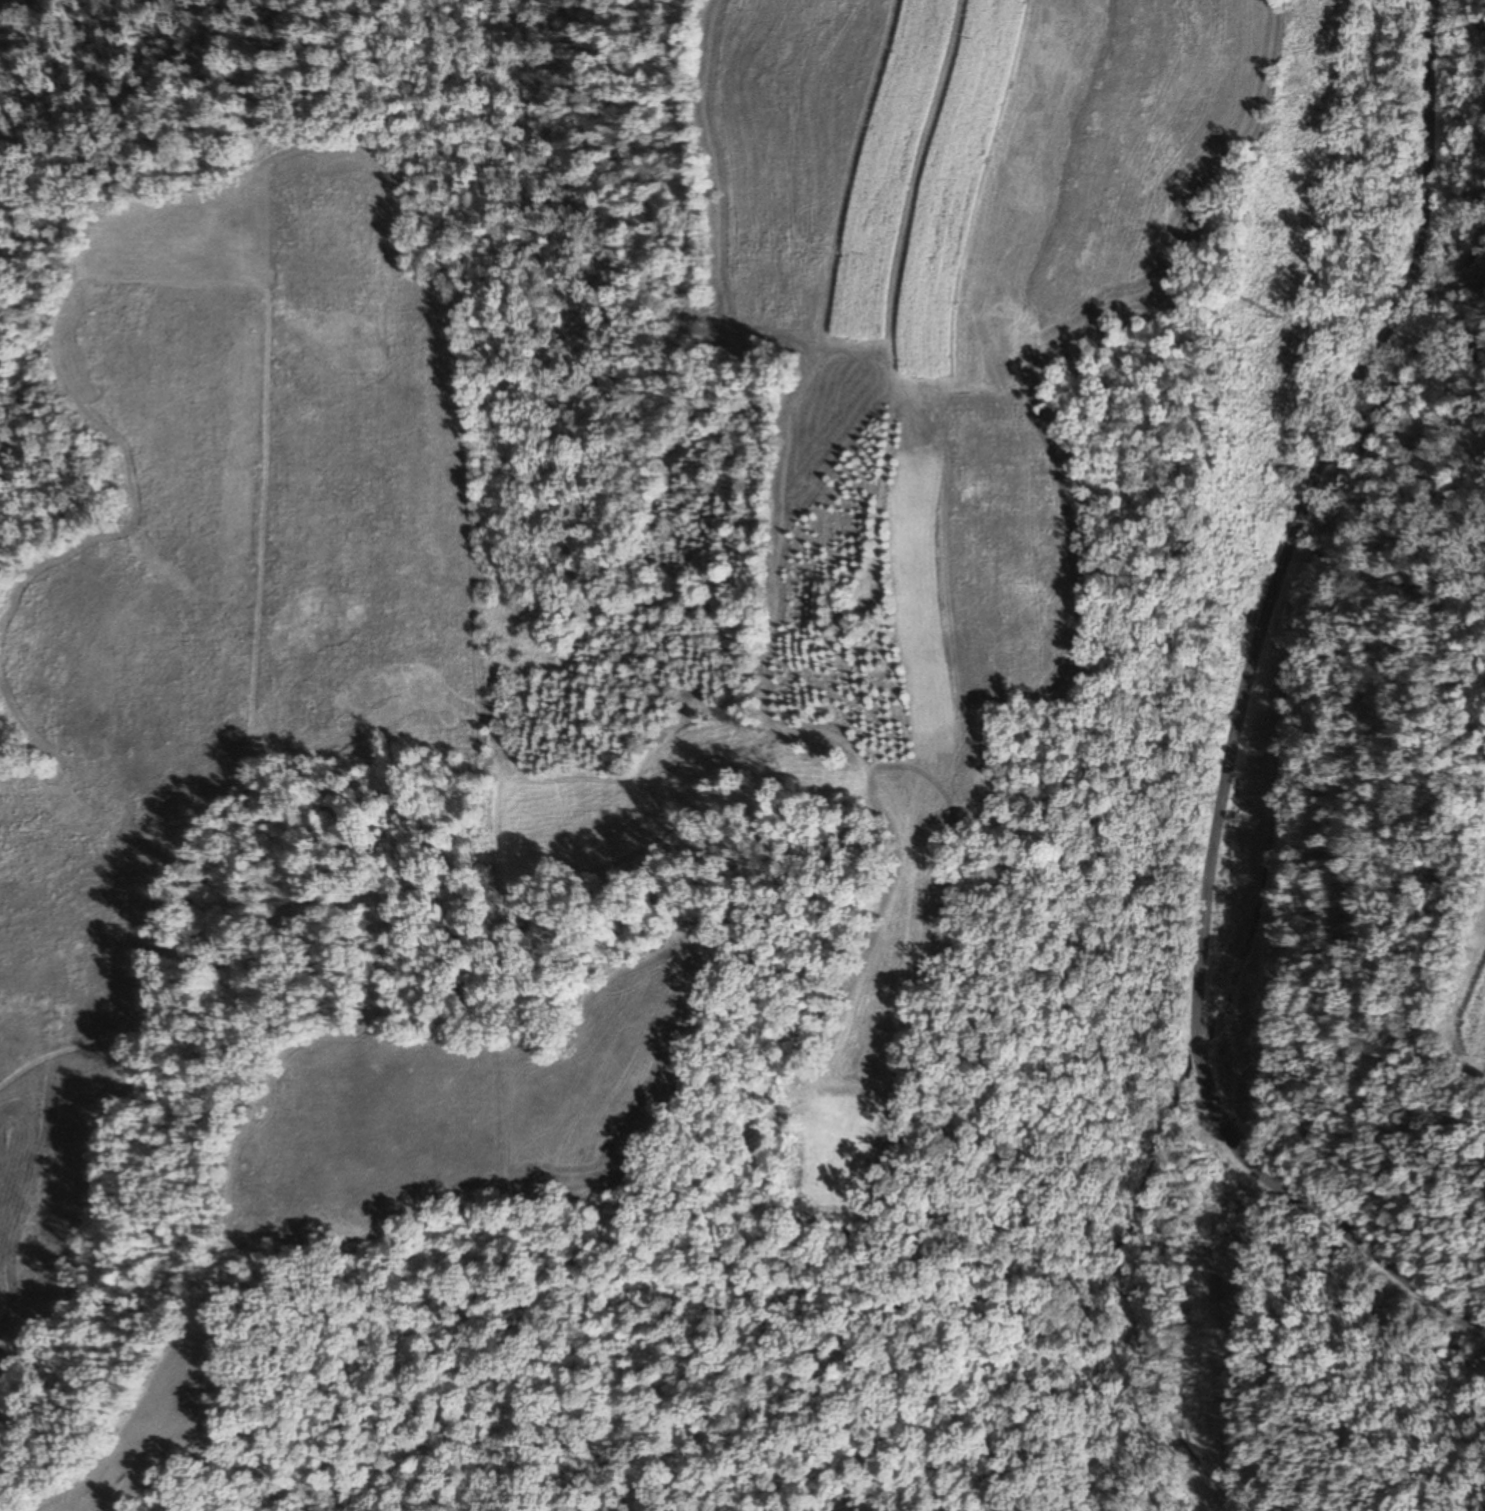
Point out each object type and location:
road: (17, 5)
road: (1245, 720)

